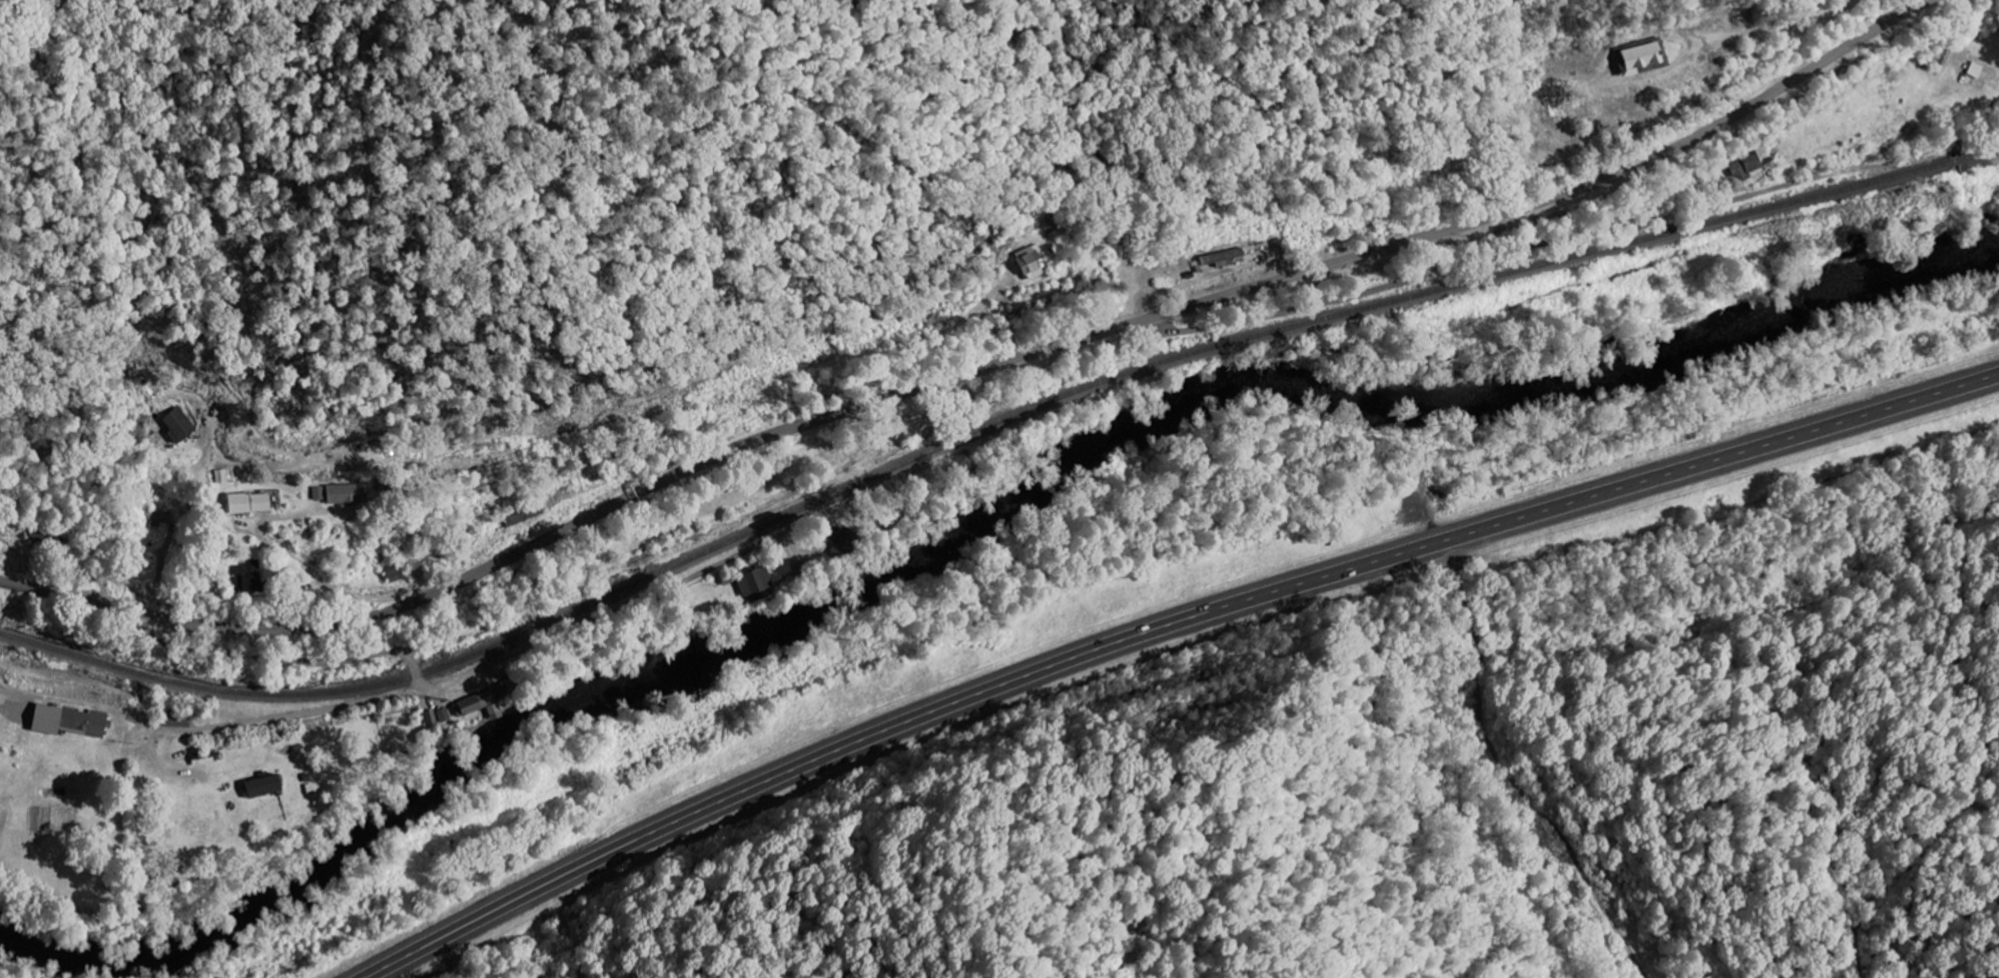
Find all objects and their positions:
building: (1635, 56)
road: (1955, 111)
road: (1985, 146)
building: (1745, 165)
road: (1555, 237)
building: (1221, 257)
building: (1028, 262)
road: (974, 371)
building: (175, 425)
railway: (988, 425)
building: (339, 494)
building: (244, 503)
building: (150, 515)
river: (976, 527)
building: (246, 577)
building: (753, 582)
road: (1165, 628)
road: (462, 676)
building: (477, 704)
building: (444, 715)
building: (431, 717)
building: (65, 720)
building: (202, 758)
building: (258, 786)
building: (172, 879)

